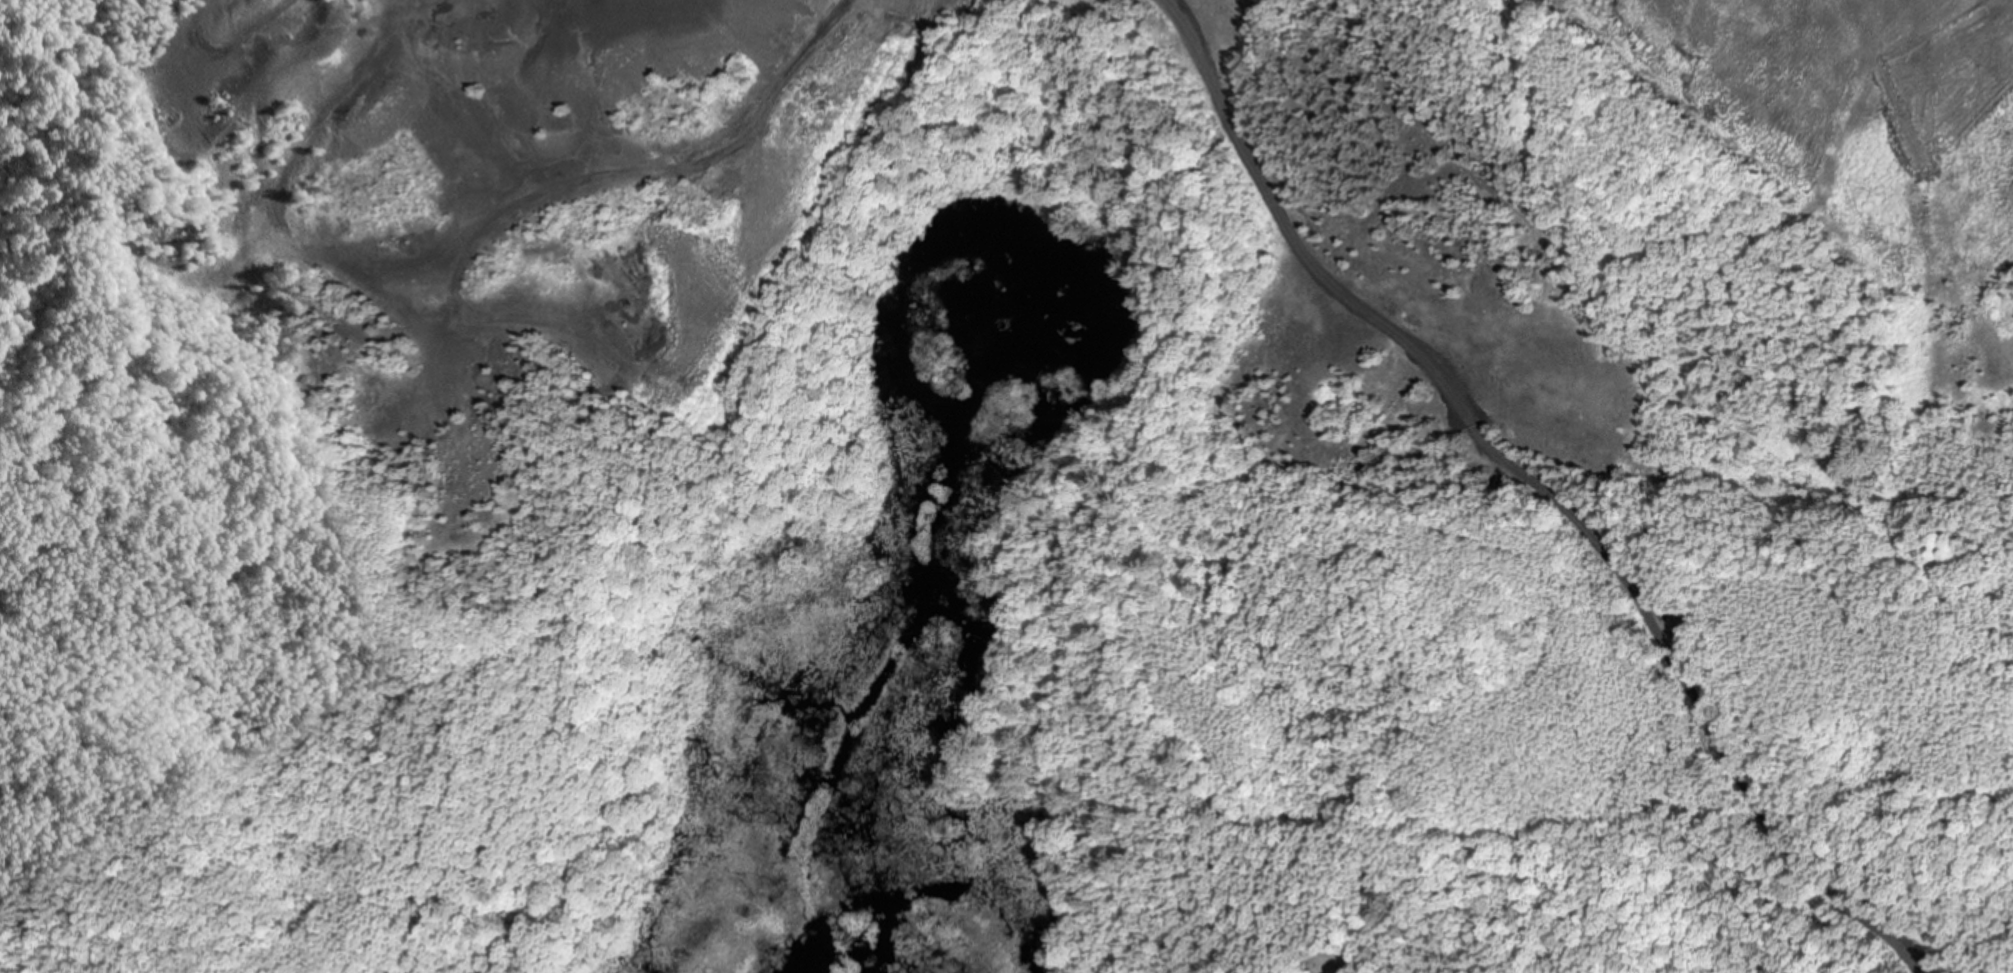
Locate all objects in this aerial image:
quarry: (479, 216)
quarry: (977, 407)
road: (1535, 489)

